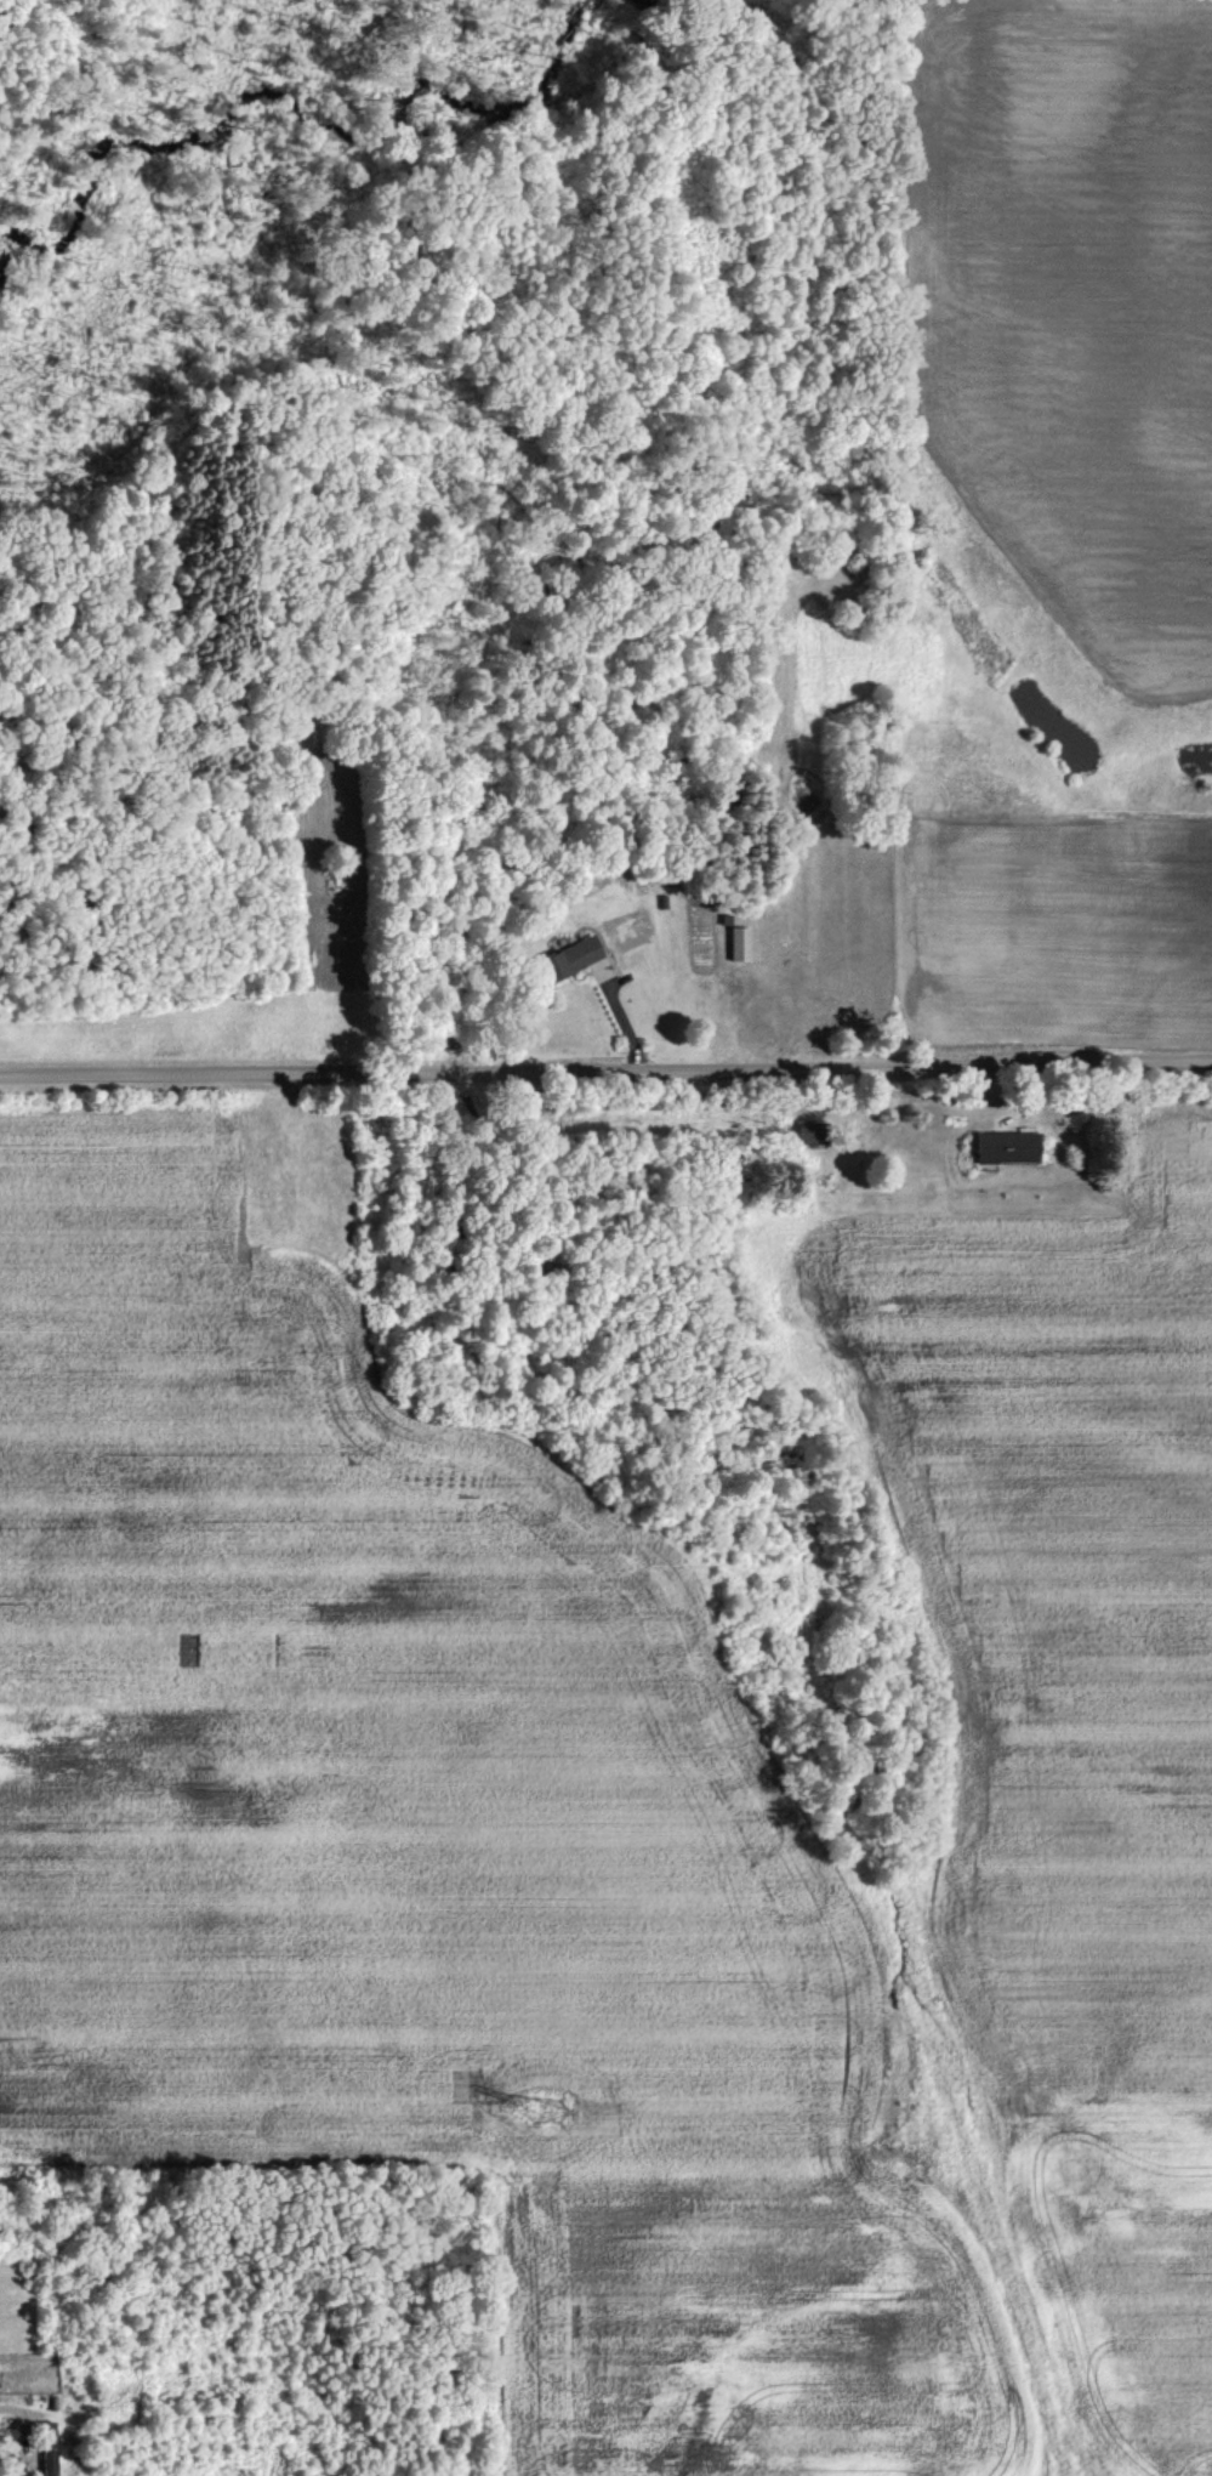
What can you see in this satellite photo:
building: (741, 942)
building: (575, 955)
road: (605, 1072)
building: (813, 1131)
building: (1008, 1146)
power tower: (551, 2107)
road: (10, 2406)

